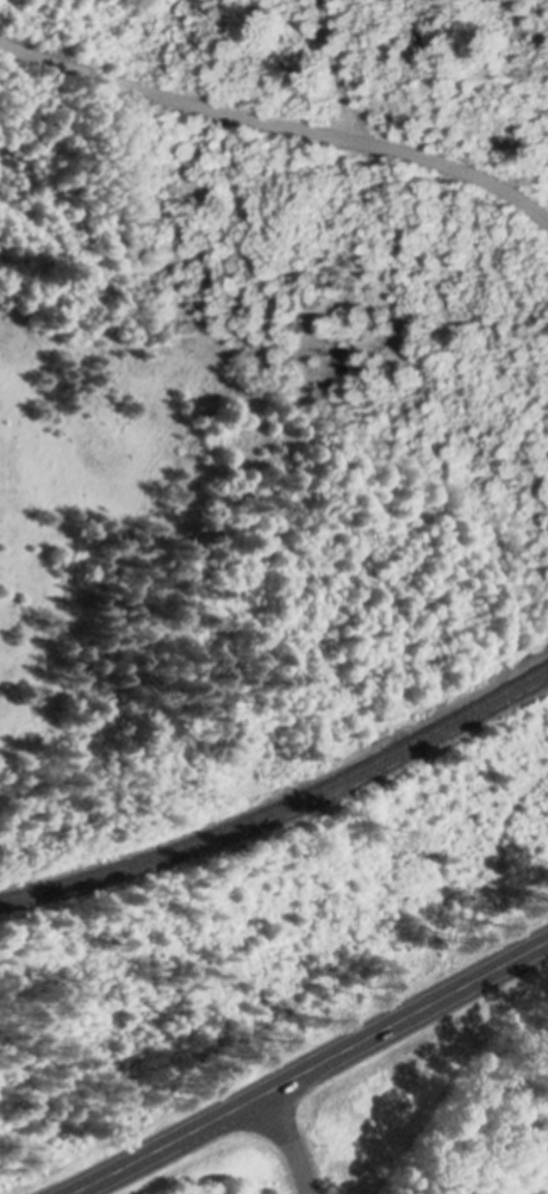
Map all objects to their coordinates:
road: (332, 73)
road: (276, 124)
railway: (282, 806)
road: (309, 1066)
road: (287, 1142)

